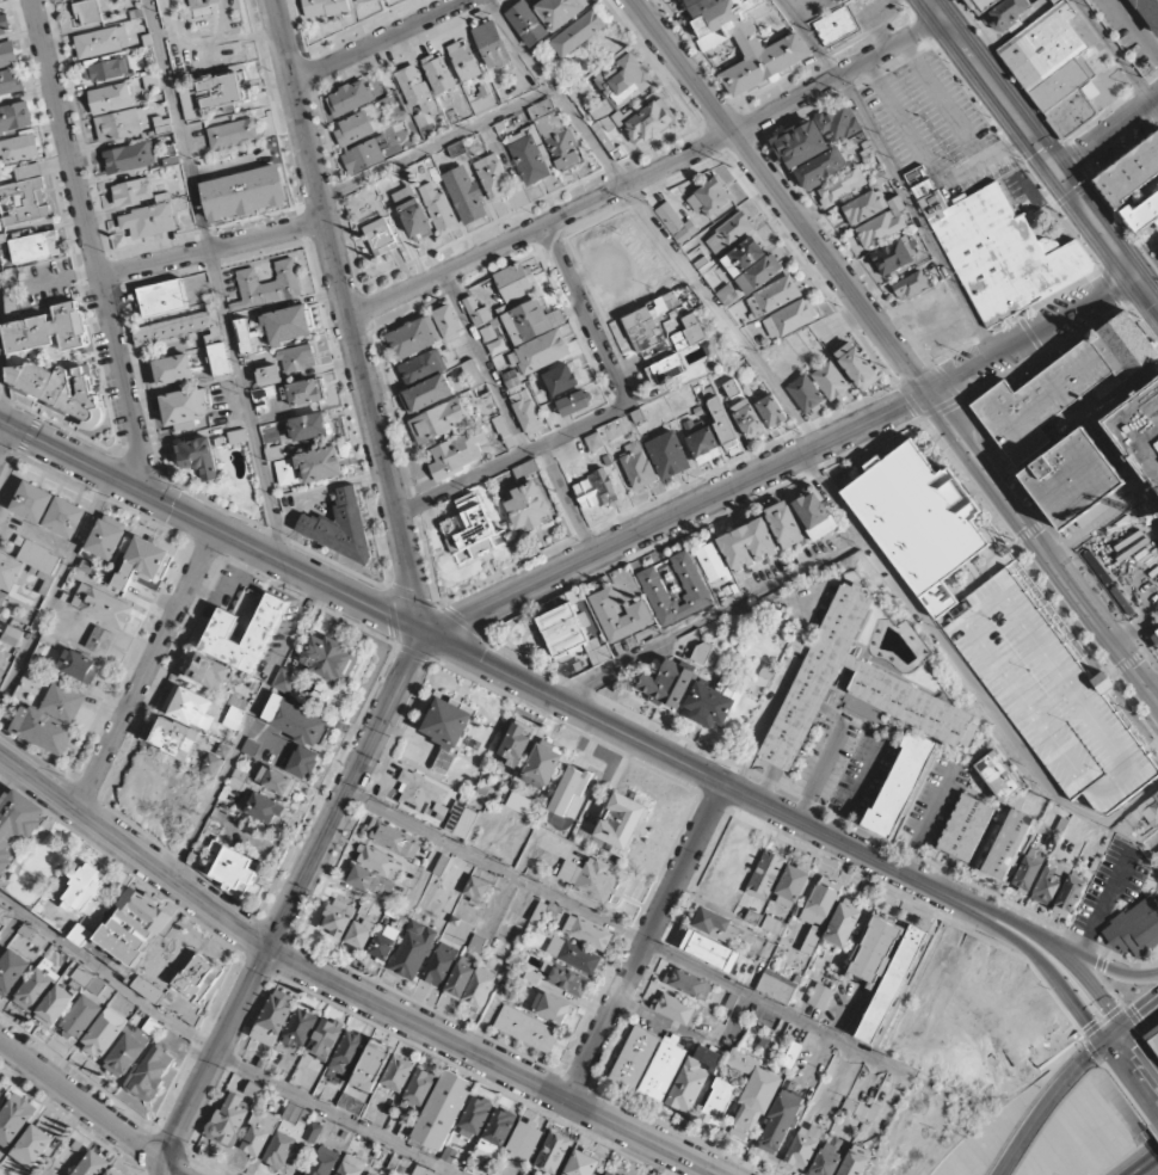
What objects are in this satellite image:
building: (836, 0)
building: (1, 1)
building: (363, 1)
building: (987, 5)
building: (324, 7)
building: (1148, 11)
building: (86, 12)
building: (559, 12)
building: (1009, 16)
building: (526, 23)
building: (4, 24)
building: (837, 25)
building: (578, 33)
parking lot: (1126, 33)
building: (101, 42)
road: (378, 42)
building: (744, 43)
building: (491, 45)
road: (1116, 51)
building: (7, 54)
building: (1048, 57)
building: (464, 61)
building: (105, 70)
building: (438, 74)
building: (10, 81)
road: (994, 88)
building: (415, 90)
building: (220, 91)
building: (580, 93)
building: (620, 97)
building: (110, 98)
building: (350, 98)
building: (190, 104)
road: (1157, 104)
building: (1076, 111)
building: (14, 117)
building: (840, 123)
building: (118, 125)
building: (353, 128)
parking lot: (943, 131)
building: (232, 134)
building: (555, 136)
road: (1109, 140)
road: (437, 143)
building: (800, 144)
building: (19, 148)
building: (364, 155)
building: (530, 155)
building: (129, 158)
railway: (1033, 167)
building: (820, 168)
building: (1131, 172)
road: (894, 173)
road: (648, 174)
building: (493, 177)
traffic signals: (1061, 177)
building: (842, 186)
building: (133, 191)
building: (245, 192)
building: (463, 195)
building: (25, 196)
building: (709, 198)
building: (864, 207)
building: (439, 209)
building: (1141, 213)
building: (412, 214)
building: (148, 221)
road: (655, 222)
building: (675, 223)
building: (883, 223)
building: (728, 233)
building: (380, 236)
road: (1109, 239)
road: (92, 245)
building: (36, 247)
road: (212, 248)
building: (998, 250)
building: (893, 256)
building: (743, 257)
building: (759, 273)
road: (216, 278)
building: (515, 282)
building: (267, 285)
building: (910, 285)
building: (772, 296)
building: (162, 297)
building: (476, 312)
road: (347, 316)
building: (789, 318)
building: (530, 321)
building: (448, 322)
building: (288, 325)
building: (177, 327)
building: (643, 328)
building: (49, 330)
building: (690, 333)
building: (244, 336)
road: (1034, 336)
building: (413, 337)
railway: (1156, 338)
road: (895, 350)
building: (540, 352)
building: (297, 358)
building: (220, 359)
road: (486, 363)
building: (421, 365)
building: (857, 365)
building: (170, 370)
building: (666, 370)
building: (472, 373)
building: (269, 375)
building: (561, 380)
building: (830, 381)
building: (512, 382)
building: (1061, 387)
building: (60, 390)
building: (733, 390)
building: (306, 392)
building: (429, 393)
building: (805, 394)
road: (1, 395)
building: (574, 402)
building: (184, 408)
building: (771, 411)
building: (526, 413)
road: (600, 419)
building: (747, 419)
building: (439, 420)
building: (722, 424)
parking lot: (1144, 424)
building: (309, 426)
building: (238, 436)
road: (6, 439)
building: (275, 453)
building: (457, 454)
building: (670, 454)
building: (198, 457)
building: (1035, 457)
building: (320, 465)
building: (637, 466)
building: (1078, 480)
building: (602, 487)
road: (569, 500)
building: (32, 502)
building: (528, 506)
road: (677, 515)
building: (814, 515)
building: (920, 516)
building: (64, 517)
building: (784, 524)
building: (339, 527)
road: (212, 528)
building: (469, 529)
building: (106, 540)
building: (747, 545)
building: (38, 558)
building: (141, 562)
building: (712, 562)
parking lot: (1129, 566)
building: (10, 573)
building: (691, 584)
road: (56, 586)
building: (1, 598)
building: (103, 605)
building: (618, 616)
road: (712, 617)
road: (926, 621)
building: (222, 627)
building: (572, 634)
building: (1154, 635)
building: (12, 636)
building: (100, 641)
building: (704, 656)
building: (329, 658)
building: (79, 665)
road: (148, 670)
building: (207, 672)
building: (285, 679)
building: (669, 684)
building: (856, 688)
parking lot: (1047, 693)
building: (1049, 696)
building: (709, 706)
building: (190, 707)
building: (50, 719)
building: (446, 722)
road: (247, 730)
building: (297, 733)
building: (174, 738)
building: (251, 746)
building: (515, 746)
road: (653, 748)
building: (543, 765)
road: (820, 773)
building: (998, 776)
building: (241, 780)
building: (276, 781)
building: (900, 783)
building: (569, 789)
road: (347, 790)
building: (423, 795)
building: (521, 804)
building: (263, 806)
building: (1141, 819)
building: (461, 820)
building: (621, 820)
building: (17, 823)
building: (966, 828)
building: (393, 838)
building: (1009, 844)
building: (380, 862)
building: (235, 869)
building: (1027, 873)
building: (765, 875)
building: (589, 878)
building: (370, 881)
building: (1049, 882)
building: (791, 886)
building: (85, 888)
building: (475, 888)
building: (1068, 896)
road: (963, 898)
building: (819, 911)
building: (335, 921)
road: (10, 924)
building: (843, 924)
building: (716, 925)
building: (134, 927)
building: (1134, 929)
building: (587, 933)
building: (359, 934)
building: (81, 935)
road: (630, 935)
road: (1006, 936)
road: (647, 941)
building: (382, 945)
building: (413, 951)
building: (710, 951)
building: (874, 952)
building: (573, 954)
building: (441, 964)
road: (1098, 964)
building: (11, 972)
building: (198, 978)
building: (565, 978)
building: (460, 979)
building: (88, 980)
road: (1084, 982)
building: (688, 984)
road: (344, 985)
building: (36, 986)
building: (480, 986)
building: (776, 986)
building: (892, 986)
building: (153, 991)
building: (820, 997)
building: (55, 1007)
building: (552, 1008)
building: (676, 1010)
building: (81, 1016)
road: (1135, 1016)
building: (273, 1017)
building: (300, 1028)
building: (526, 1028)
traffic signals: (1114, 1035)
building: (1154, 1036)
building: (325, 1039)
building: (115, 1042)
building: (347, 1053)
road: (217, 1054)
building: (791, 1054)
building: (634, 1058)
road: (214, 1059)
road: (1135, 1063)
building: (371, 1065)
building: (661, 1069)
building: (150, 1072)
building: (398, 1074)
building: (692, 1081)
building: (1, 1085)
building: (420, 1087)
road: (1157, 1090)
building: (752, 1094)
road: (1049, 1099)
building: (719, 1102)
road: (93, 1109)
building: (443, 1109)
building: (860, 1111)
building: (475, 1116)
building: (14, 1119)
building: (228, 1120)
building: (781, 1122)
building: (497, 1131)
building: (259, 1133)
building: (290, 1136)
building: (524, 1140)
building: (33, 1146)
building: (805, 1146)
building: (553, 1152)
building: (829, 1156)
building: (856, 1161)
building: (322, 1162)
building: (92, 1164)
building: (583, 1164)
building: (351, 1165)
road: (1147, 1167)
building: (419, 1170)
building: (113, 1171)
building: (608, 1173)
building: (368, 1174)
road: (714, 1174)

